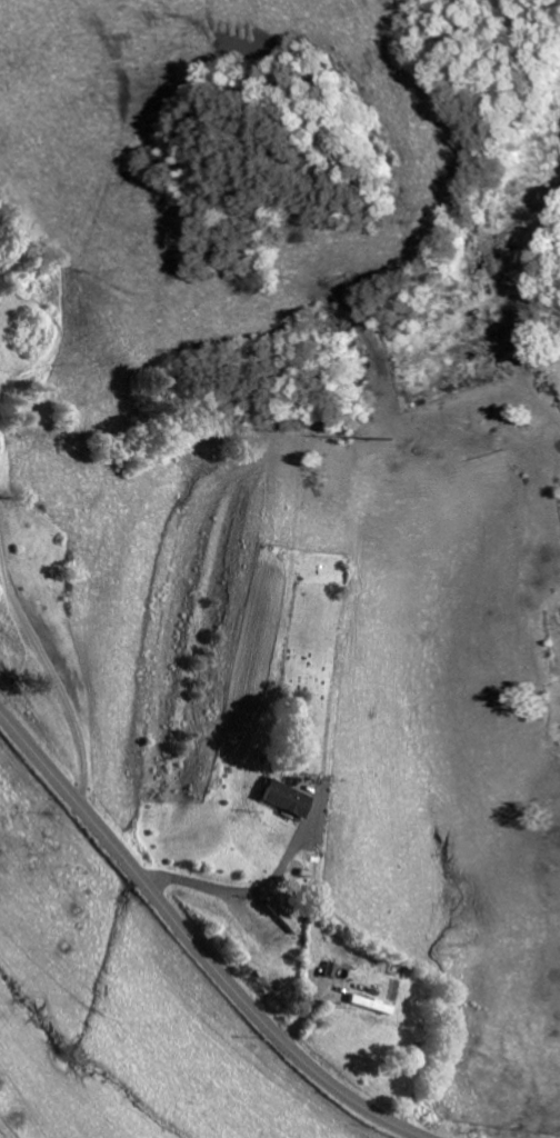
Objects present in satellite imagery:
building: (279, 797)
road: (204, 938)

